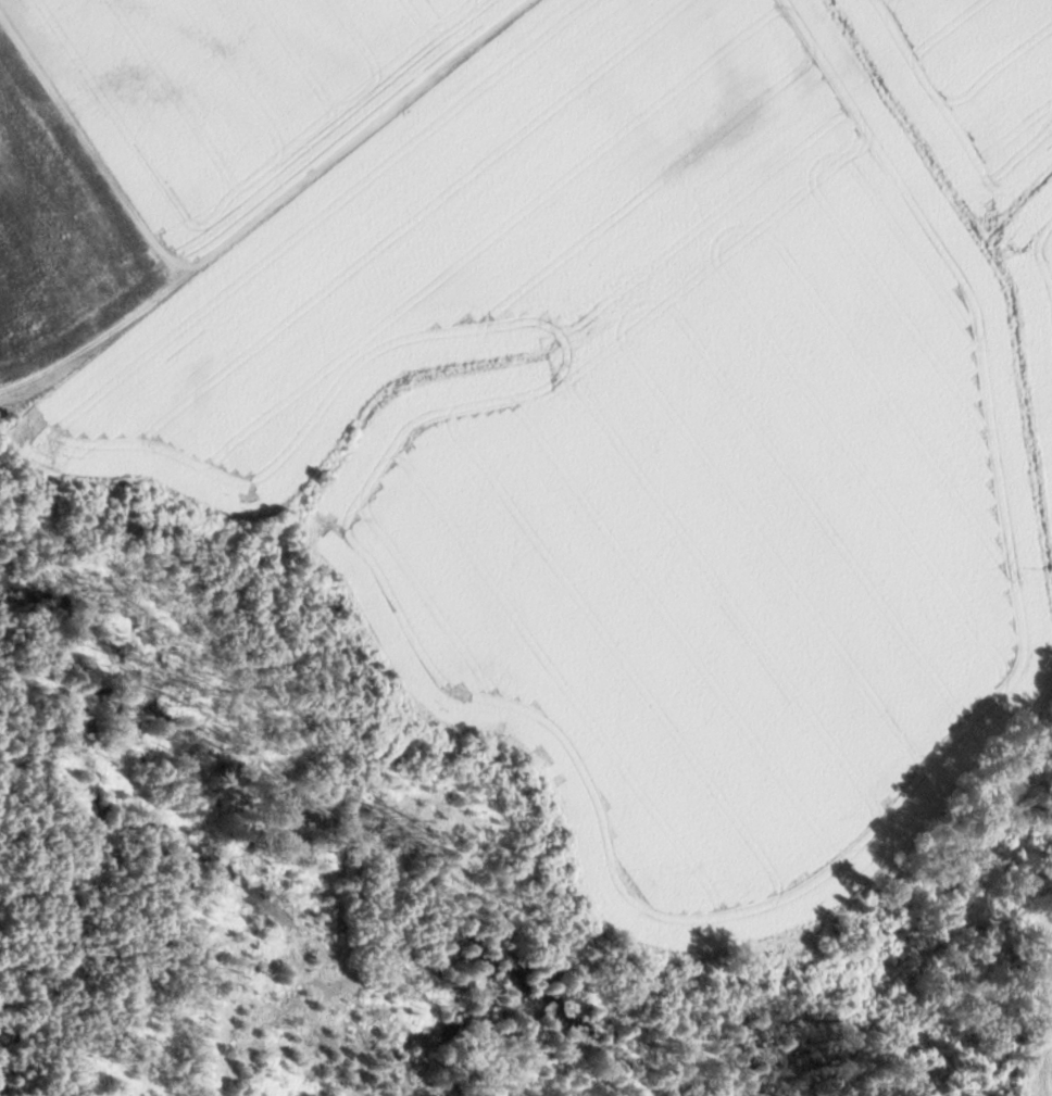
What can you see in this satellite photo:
road: (347, 146)

